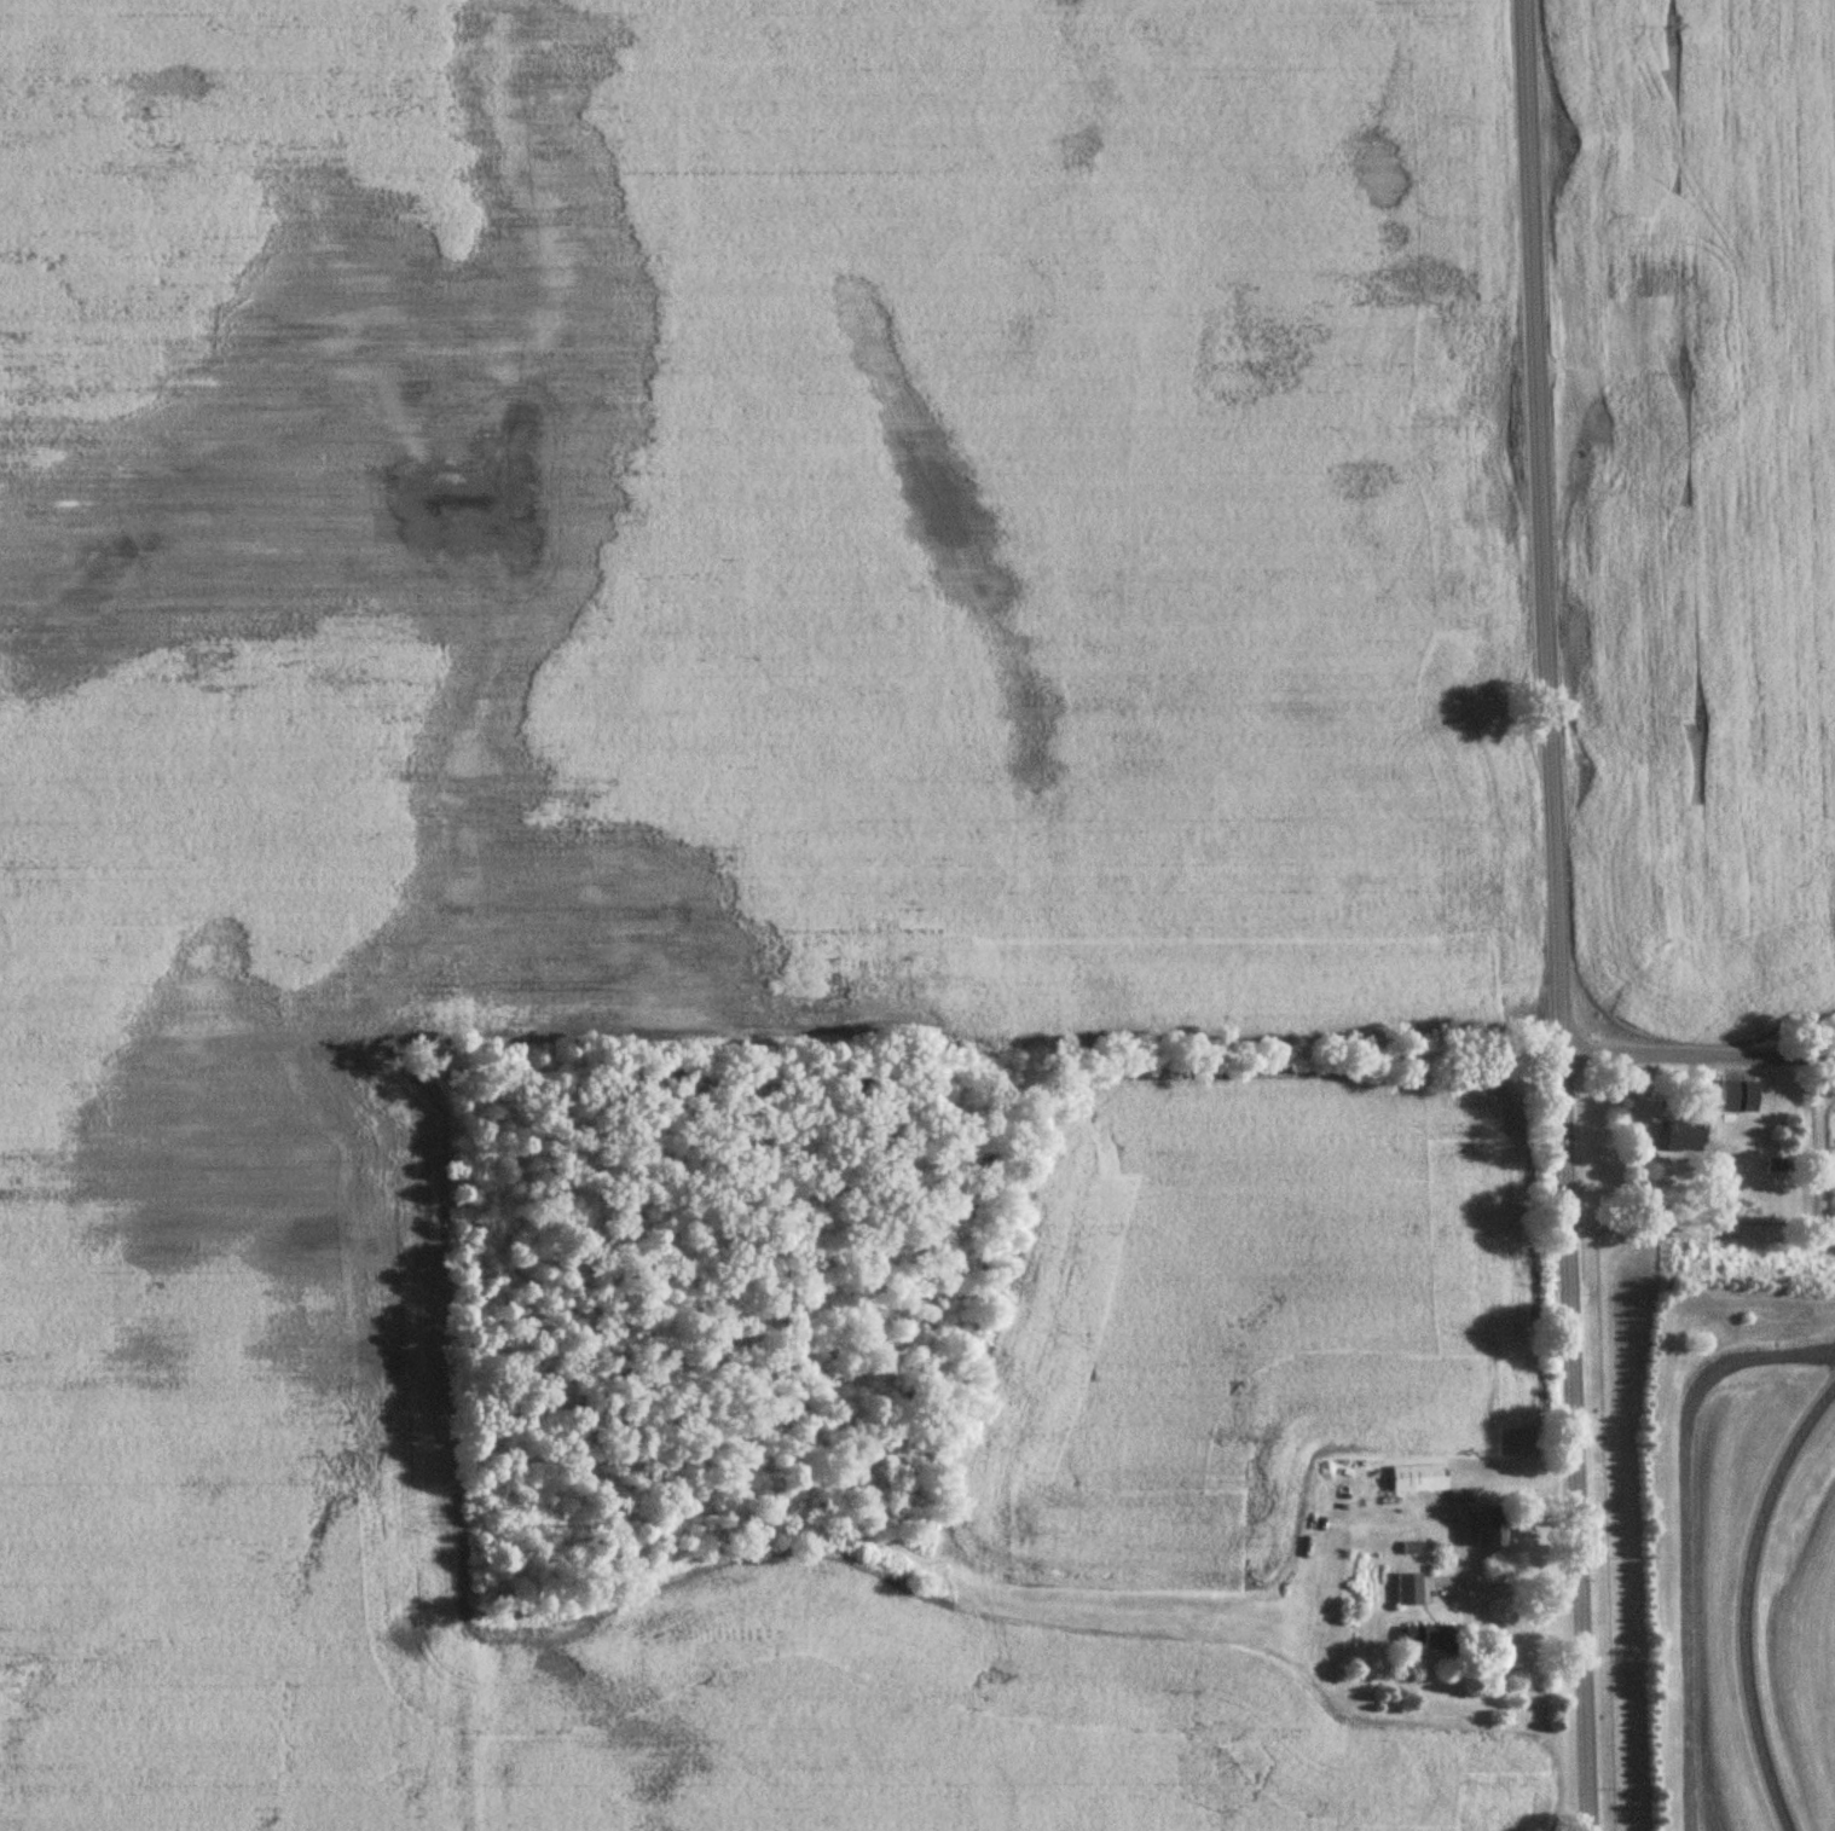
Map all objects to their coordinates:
road: (1558, 915)
road: (1700, 1050)
building: (1740, 1099)
building: (1684, 1138)
building: (1775, 1166)
building: (1418, 1478)
building: (1490, 1528)
road: (1511, 1587)
building: (1408, 1590)
building: (1429, 1640)

